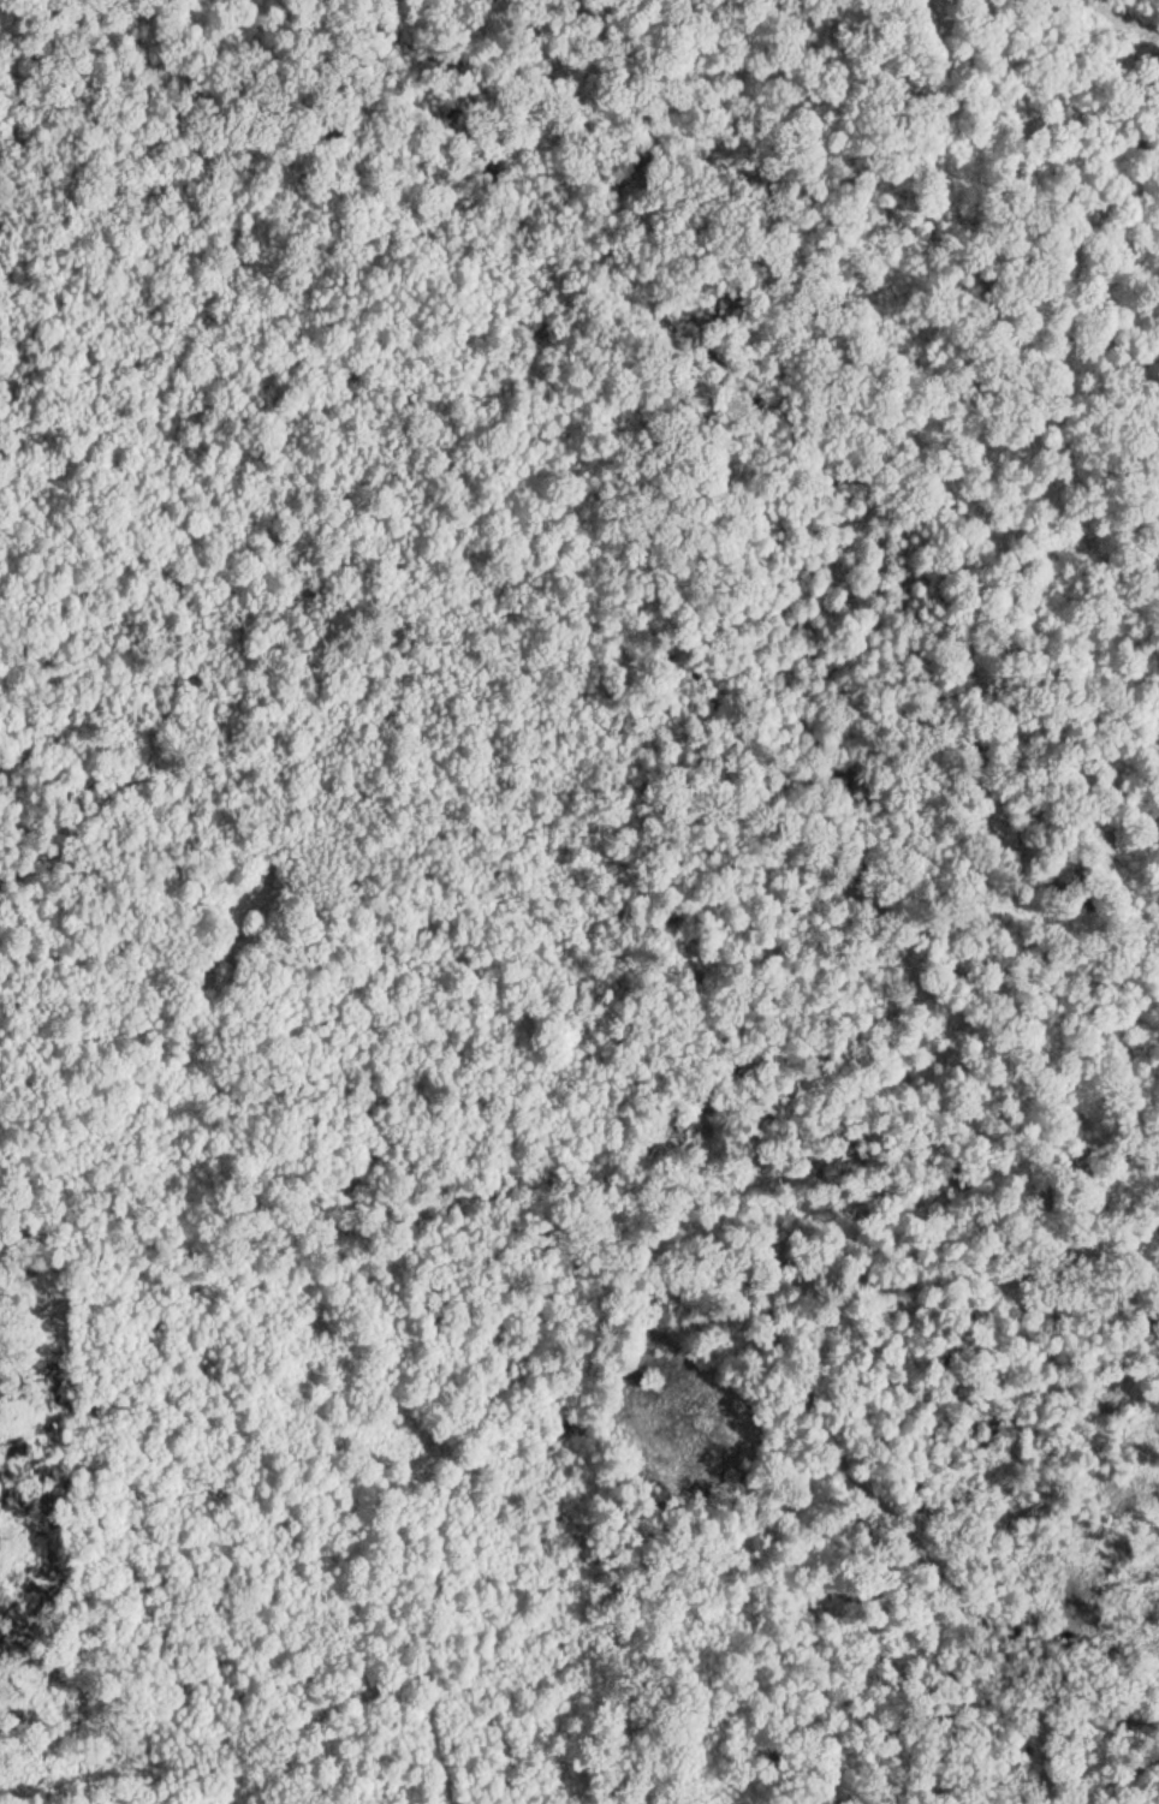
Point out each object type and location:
road: (951, 651)

